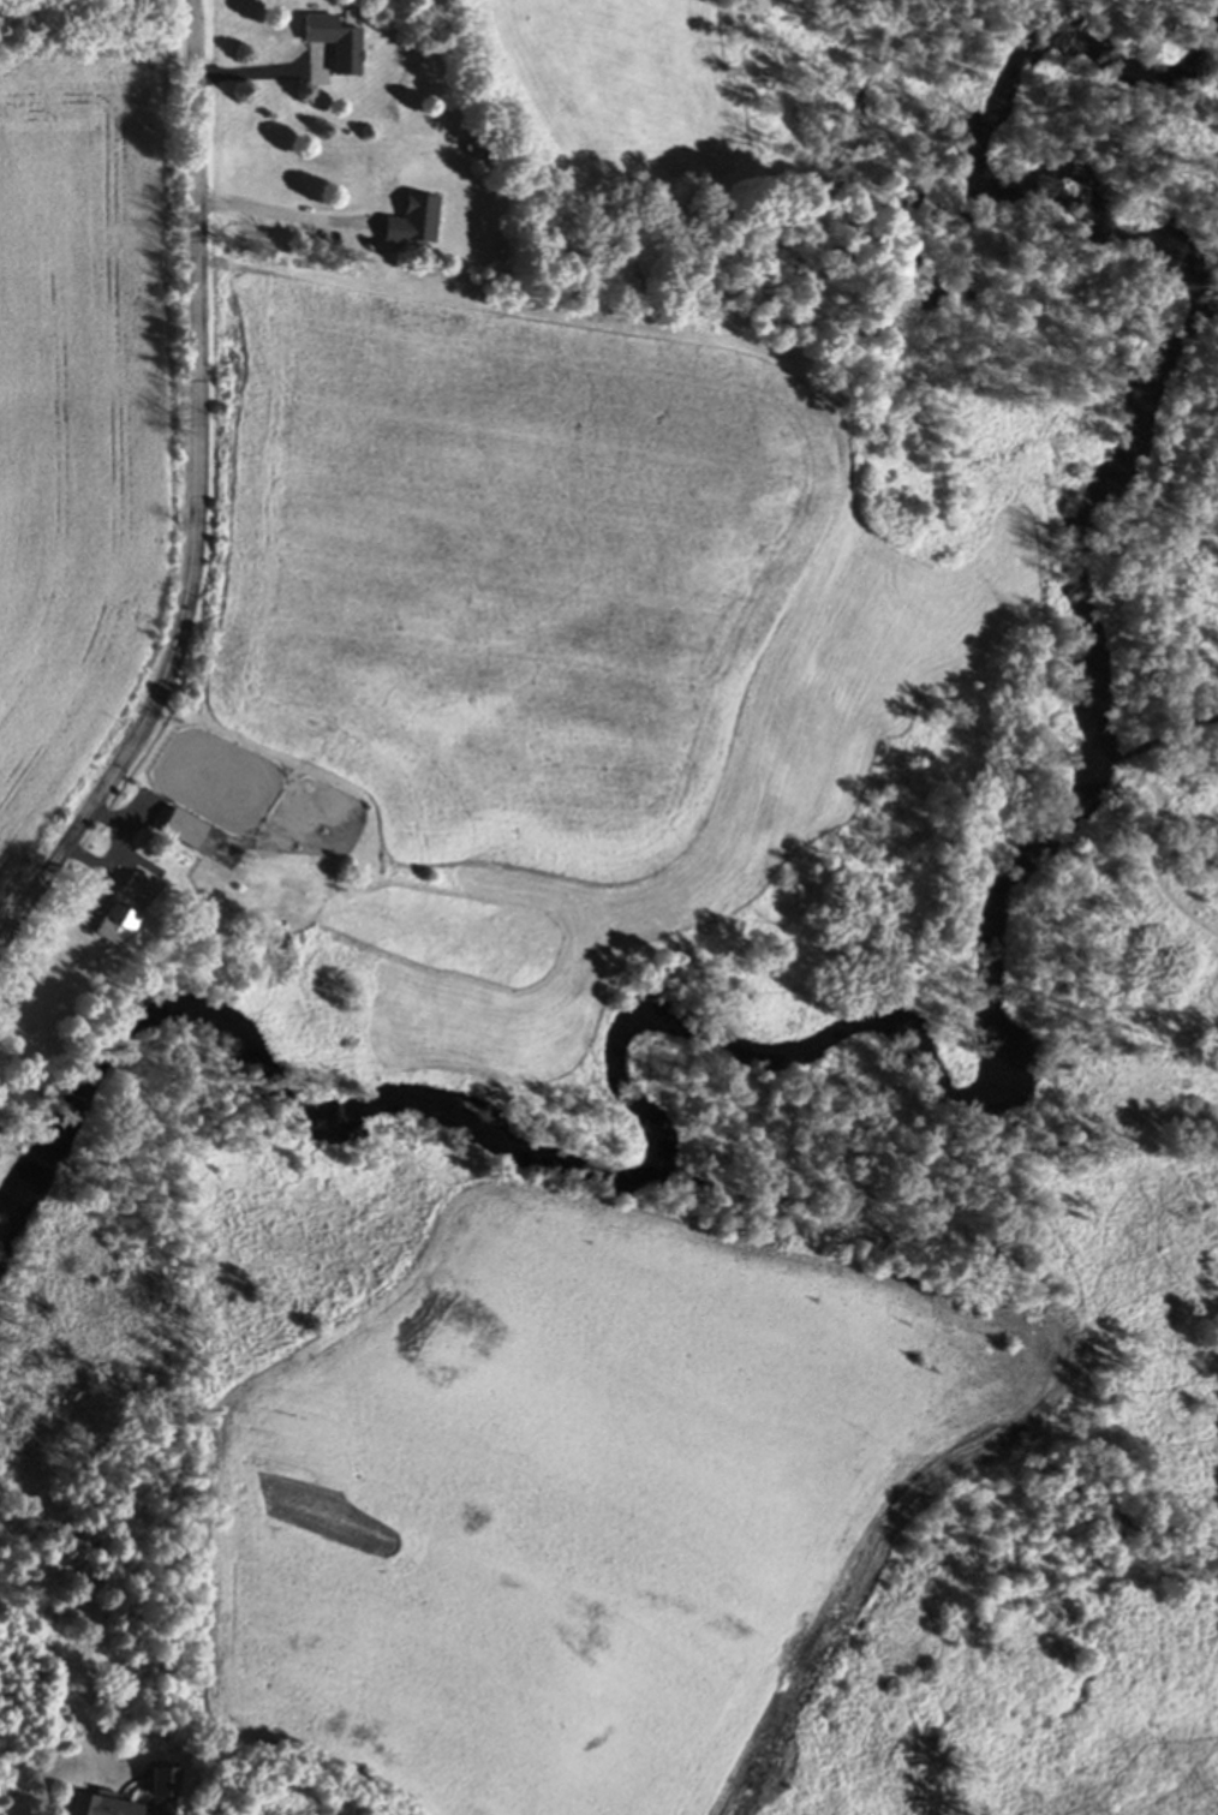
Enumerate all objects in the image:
road: (95, 13)
building: (330, 44)
road: (282, 213)
building: (406, 226)
road: (199, 496)
building: (133, 890)
building: (107, 926)
river: (989, 1087)
building: (160, 1784)
building: (95, 1807)

